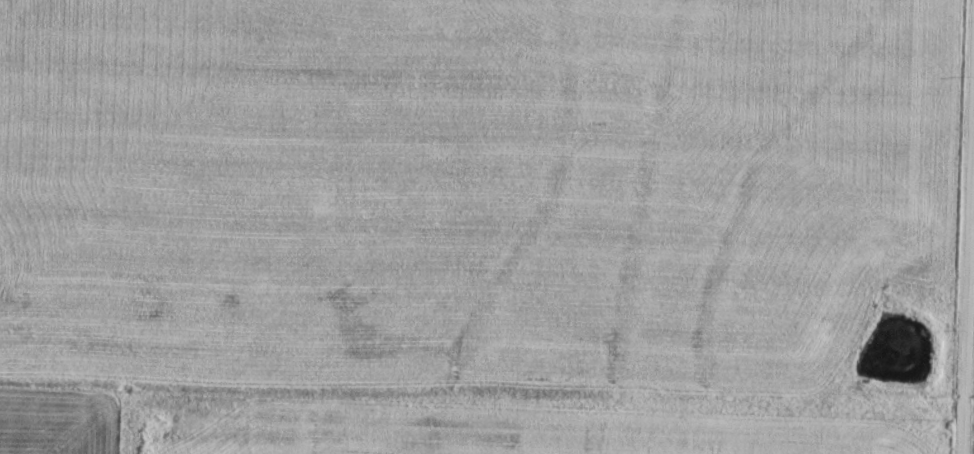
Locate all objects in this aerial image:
road: (968, 301)

